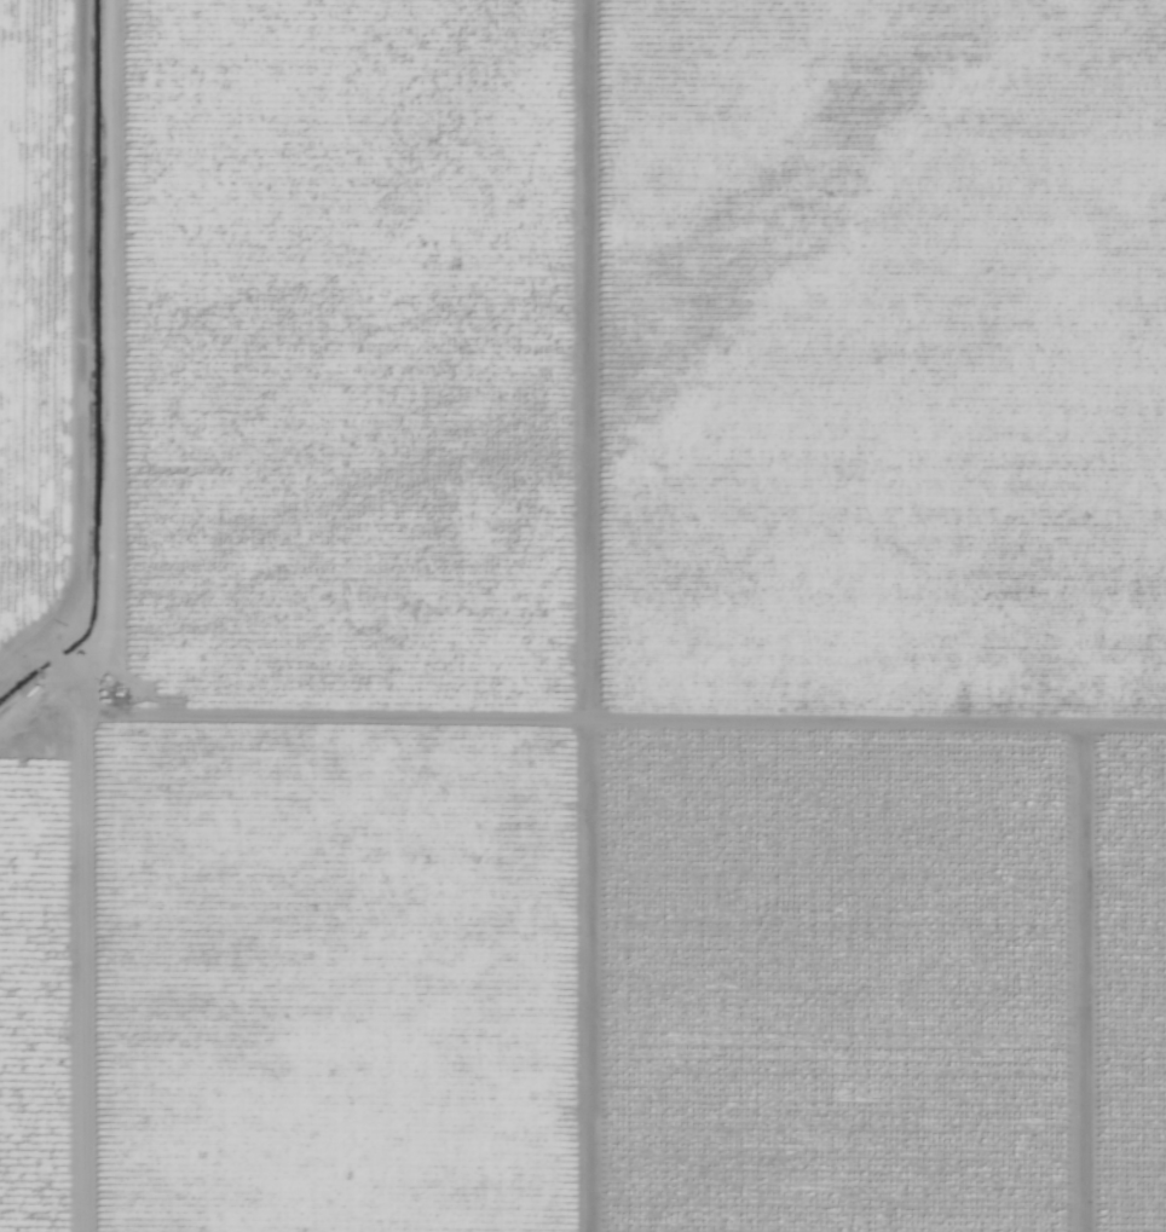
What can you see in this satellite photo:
crop: (583, 615)

